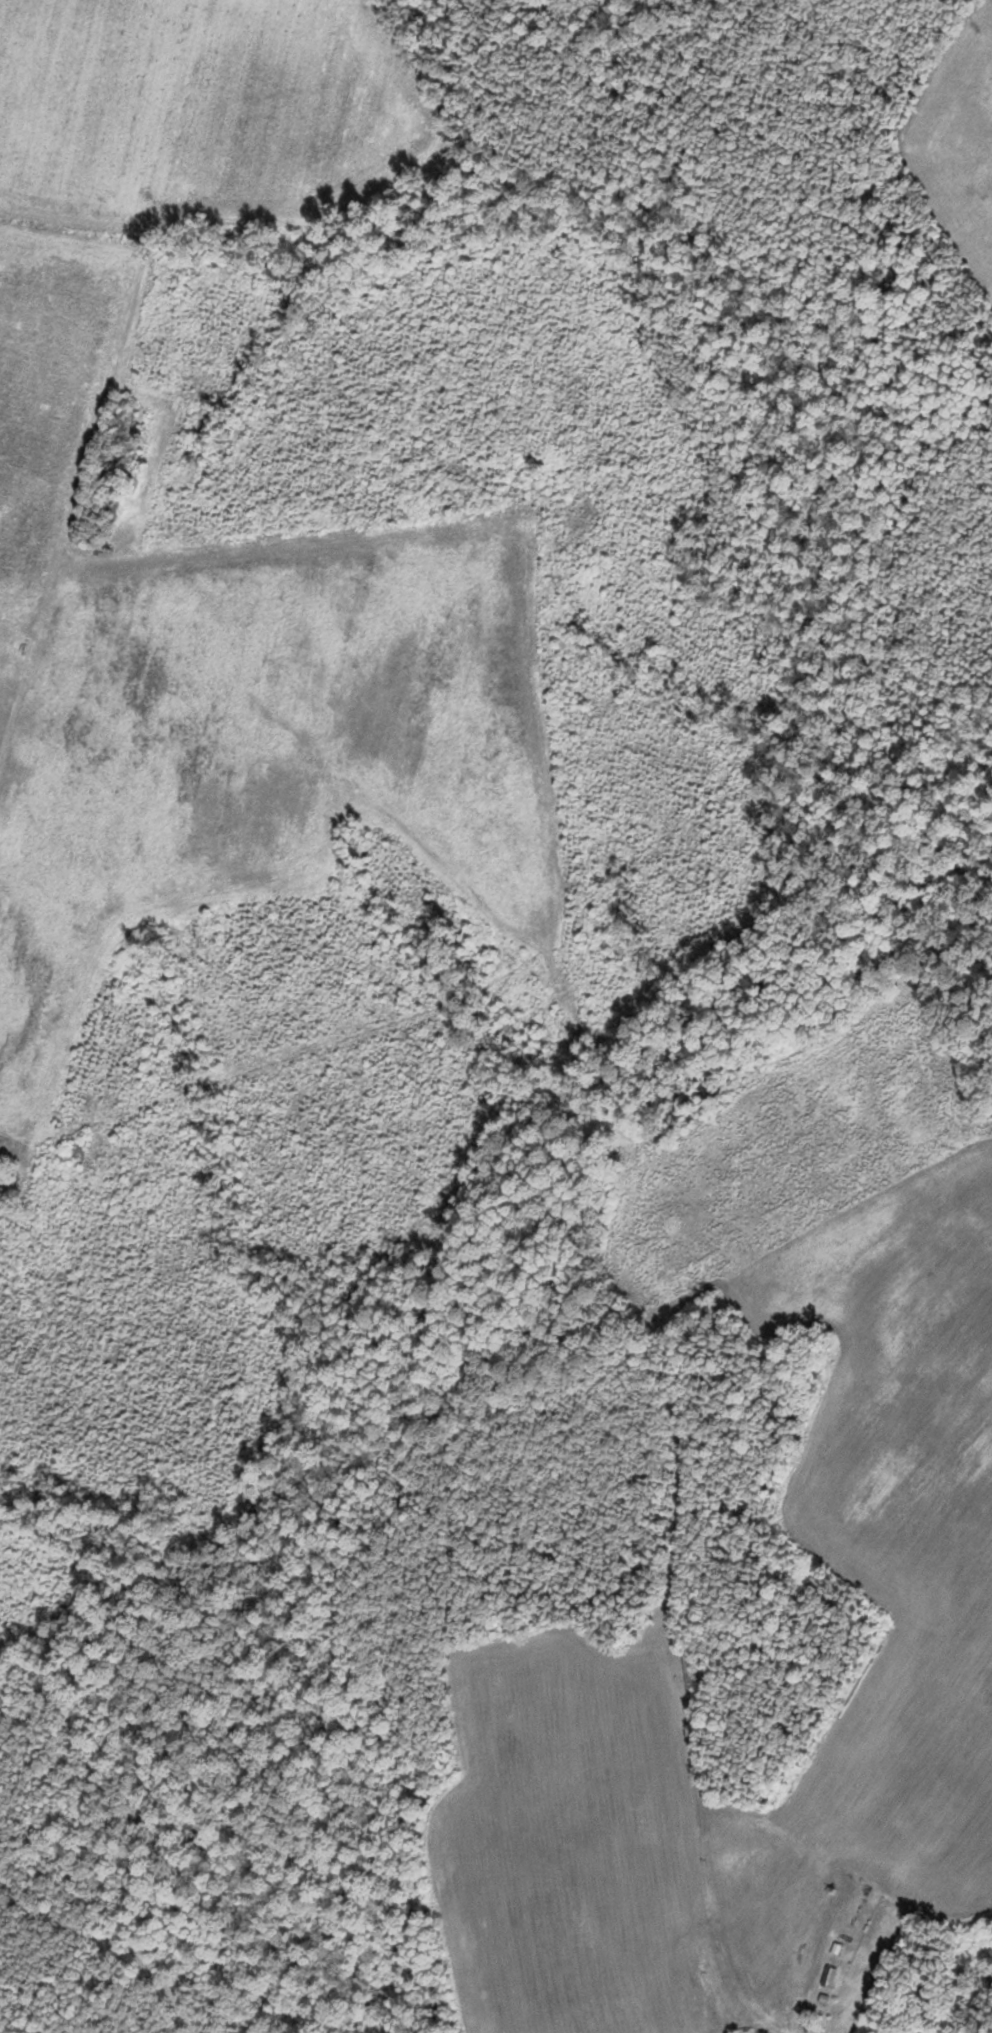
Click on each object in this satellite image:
building: (2, 654)
building: (690, 1675)

